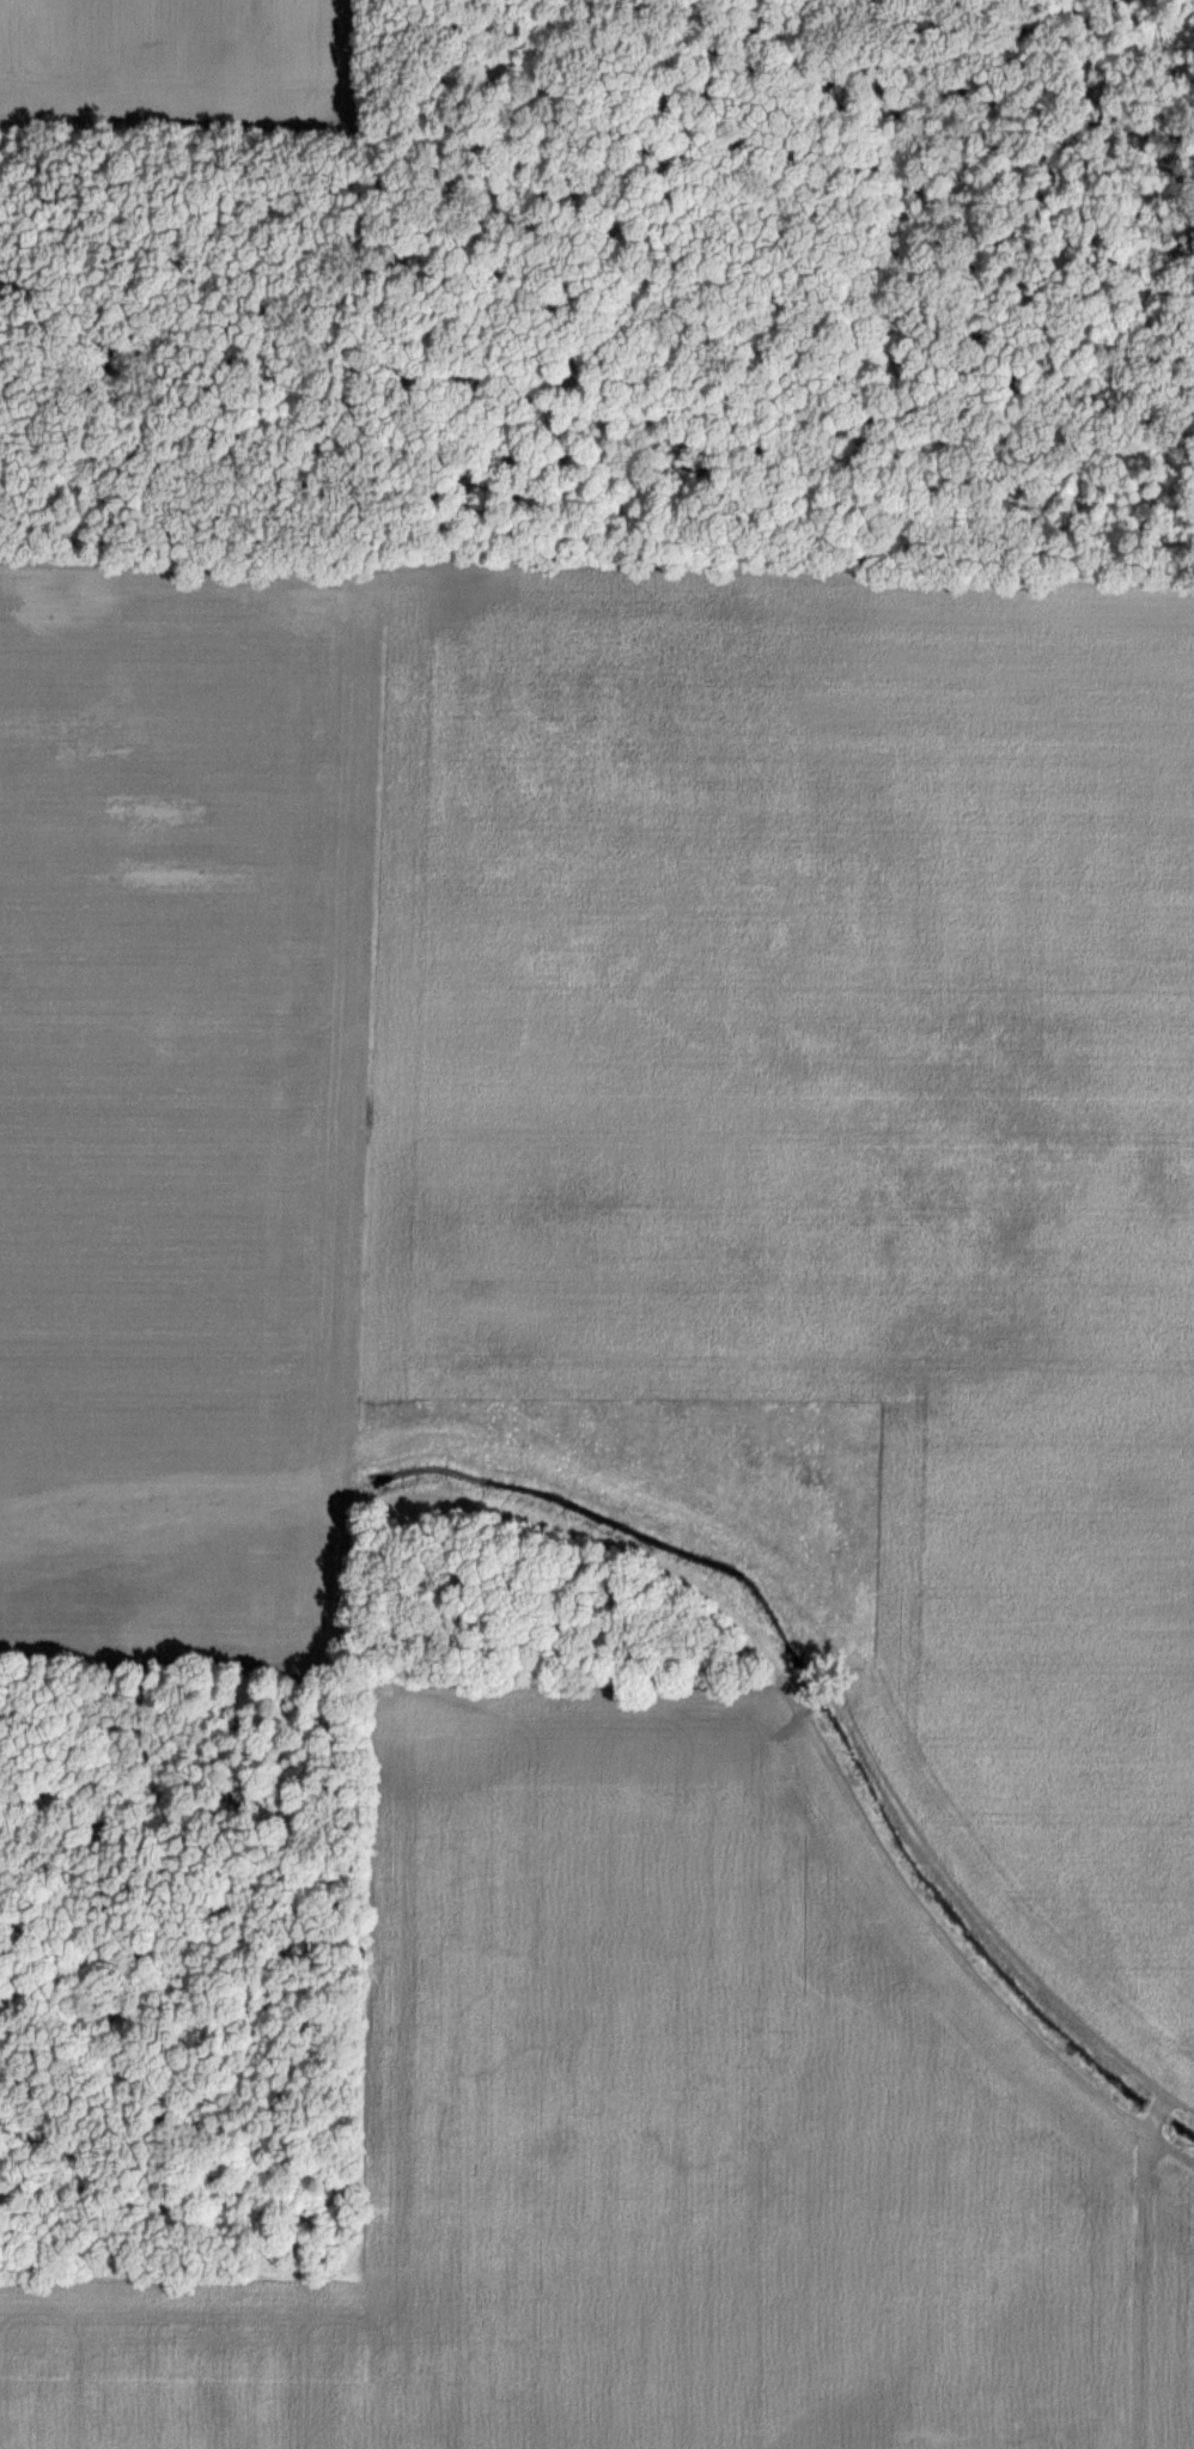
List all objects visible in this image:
building: (1019, 2443)

